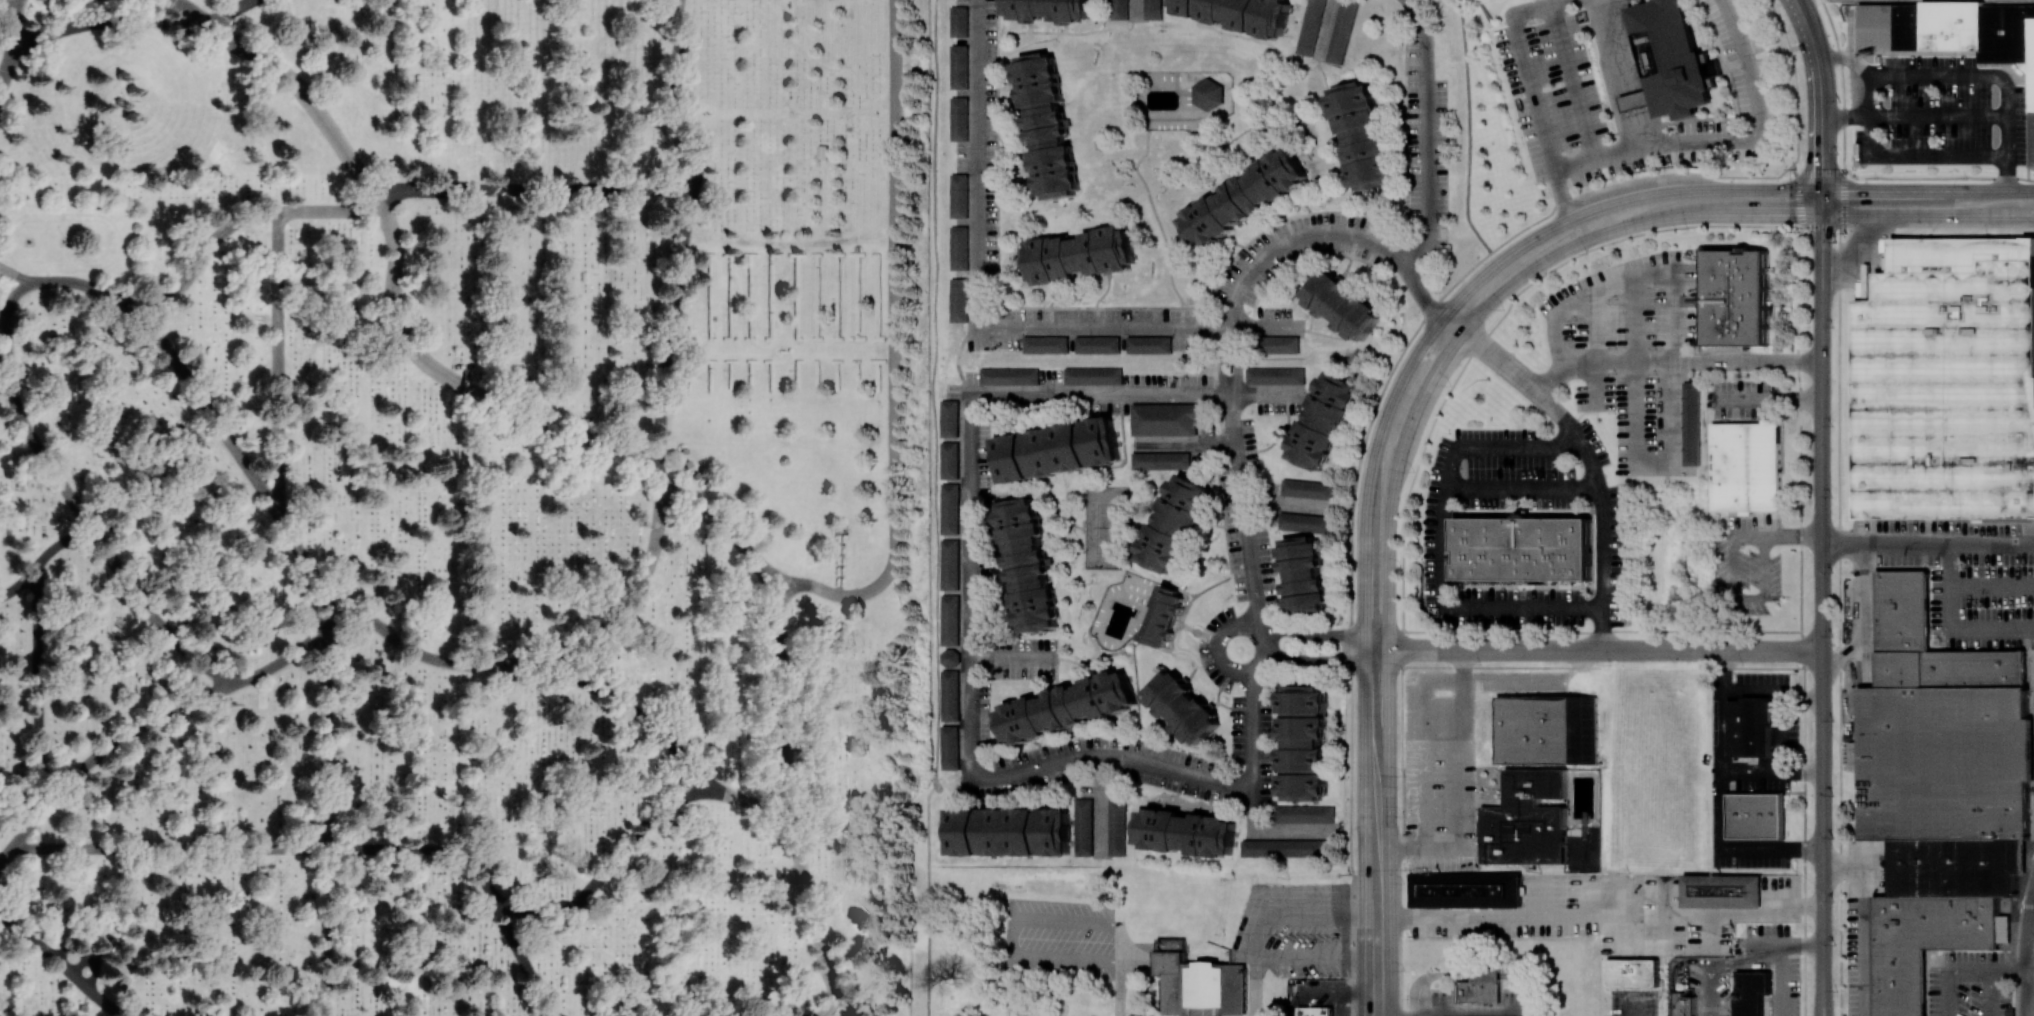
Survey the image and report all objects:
road: (1562, 2)
road: (7, 7)
road: (1136, 7)
building: (1119, 9)
building: (1153, 9)
building: (1048, 10)
road: (1530, 10)
road: (14, 12)
road: (229, 13)
road: (192, 14)
building: (1239, 14)
road: (120, 20)
building: (959, 21)
building: (1310, 27)
building: (1342, 31)
building: (1953, 31)
road: (22, 33)
road: (14, 41)
road: (1616, 47)
road: (22, 48)
building: (1670, 62)
building: (959, 66)
road: (6, 72)
road: (1963, 76)
road: (306, 94)
building: (1208, 94)
road: (677, 97)
road: (1632, 103)
road: (1821, 105)
road: (1846, 116)
building: (959, 119)
building: (1048, 125)
road: (1638, 131)
building: (1361, 135)
road: (1428, 135)
road: (1754, 142)
road: (1899, 157)
road: (533, 190)
road: (1718, 191)
traffic signals: (1821, 191)
building: (959, 196)
building: (1244, 198)
road: (376, 199)
road: (331, 211)
road: (1730, 215)
traffic signals: (1821, 215)
building: (959, 248)
building: (1081, 255)
road: (201, 257)
road: (15, 275)
road: (1629, 278)
road: (78, 282)
building: (1737, 297)
building: (958, 300)
building: (1343, 305)
road: (11, 306)
road: (979, 323)
road: (3, 326)
road: (668, 333)
building: (1045, 344)
building: (1097, 344)
building: (1149, 344)
building: (1278, 344)
road: (5, 345)
road: (1479, 346)
road: (894, 348)
road: (2, 358)
road: (1238, 361)
road: (1221, 362)
road: (1674, 362)
road: (280, 364)
building: (1276, 375)
building: (1009, 376)
building: (1093, 376)
building: (1948, 382)
road: (467, 389)
road: (1772, 403)
road: (206, 405)
building: (949, 418)
building: (1163, 419)
building: (1324, 421)
building: (1691, 423)
road: (1184, 442)
road: (40, 448)
building: (1057, 450)
building: (950, 460)
building: (1161, 460)
road: (1649, 464)
building: (1747, 467)
road: (1368, 484)
road: (1522, 486)
building: (1307, 489)
road: (1392, 492)
road: (1282, 502)
park: (465, 507)
building: (950, 509)
road: (1242, 510)
building: (1304, 523)
building: (1176, 524)
road: (1839, 524)
road: (724, 527)
park: (1105, 527)
road: (1794, 534)
road: (1751, 535)
road: (62, 540)
road: (1928, 542)
road: (1440, 545)
building: (1521, 548)
road: (971, 562)
road: (309, 563)
building: (950, 564)
road: (841, 565)
building: (1028, 565)
building: (1304, 574)
parking lot: (1968, 577)
road: (21, 582)
road: (1992, 584)
road: (634, 594)
road: (1752, 598)
road: (1822, 615)
road: (153, 616)
building: (1165, 616)
road: (1861, 616)
building: (950, 620)
road: (1952, 625)
road: (1310, 635)
road: (1377, 642)
road: (1605, 650)
road: (428, 657)
building: (949, 657)
road: (1011, 657)
road: (287, 658)
road: (1320, 662)
road: (1254, 669)
road: (40, 687)
road: (1773, 691)
building: (950, 695)
road: (786, 697)
road: (1461, 705)
building: (1065, 707)
building: (1182, 707)
road: (636, 711)
building: (1749, 727)
building: (1546, 729)
road: (328, 732)
road: (127, 737)
building: (1303, 743)
building: (950, 747)
road: (1379, 757)
building: (1945, 762)
road: (1772, 771)
road: (1426, 788)
road: (1250, 790)
road: (1722, 798)
road: (750, 802)
road: (1461, 806)
building: (1304, 814)
building: (1756, 816)
building: (1527, 820)
building: (1083, 827)
building: (1116, 828)
road: (27, 830)
building: (1009, 831)
building: (1186, 832)
road: (171, 847)
road: (430, 848)
building: (1286, 848)
road: (1403, 849)
road: (1444, 850)
road: (7, 856)
building: (1957, 866)
road: (610, 867)
building: (1465, 890)
building: (1722, 891)
road: (926, 898)
road: (1601, 912)
road: (2032, 915)
road: (813, 916)
road: (1267, 917)
road: (1381, 923)
road: (1016, 925)
road: (327, 932)
parking lot: (1057, 939)
road: (1792, 943)
building: (1922, 943)
road: (1317, 954)
road: (2025, 956)
road: (524, 962)
road: (1773, 962)
road: (63, 963)
road: (1971, 971)
road: (2007, 971)
road: (1673, 972)
building: (1632, 973)
building: (1486, 975)
road: (1486, 975)
road: (1428, 976)
road: (1236, 981)
road: (1532, 982)
building: (1201, 983)
road: (1136, 985)
road: (1120, 987)
road: (1709, 988)
gas station: (1479, 992)
building: (1750, 992)
parking lot: (1723, 993)
building: (324, 999)
building: (1685, 1004)
road: (1377, 1007)
road: (1381, 1007)
building: (1316, 1011)
road: (1478, 1015)

